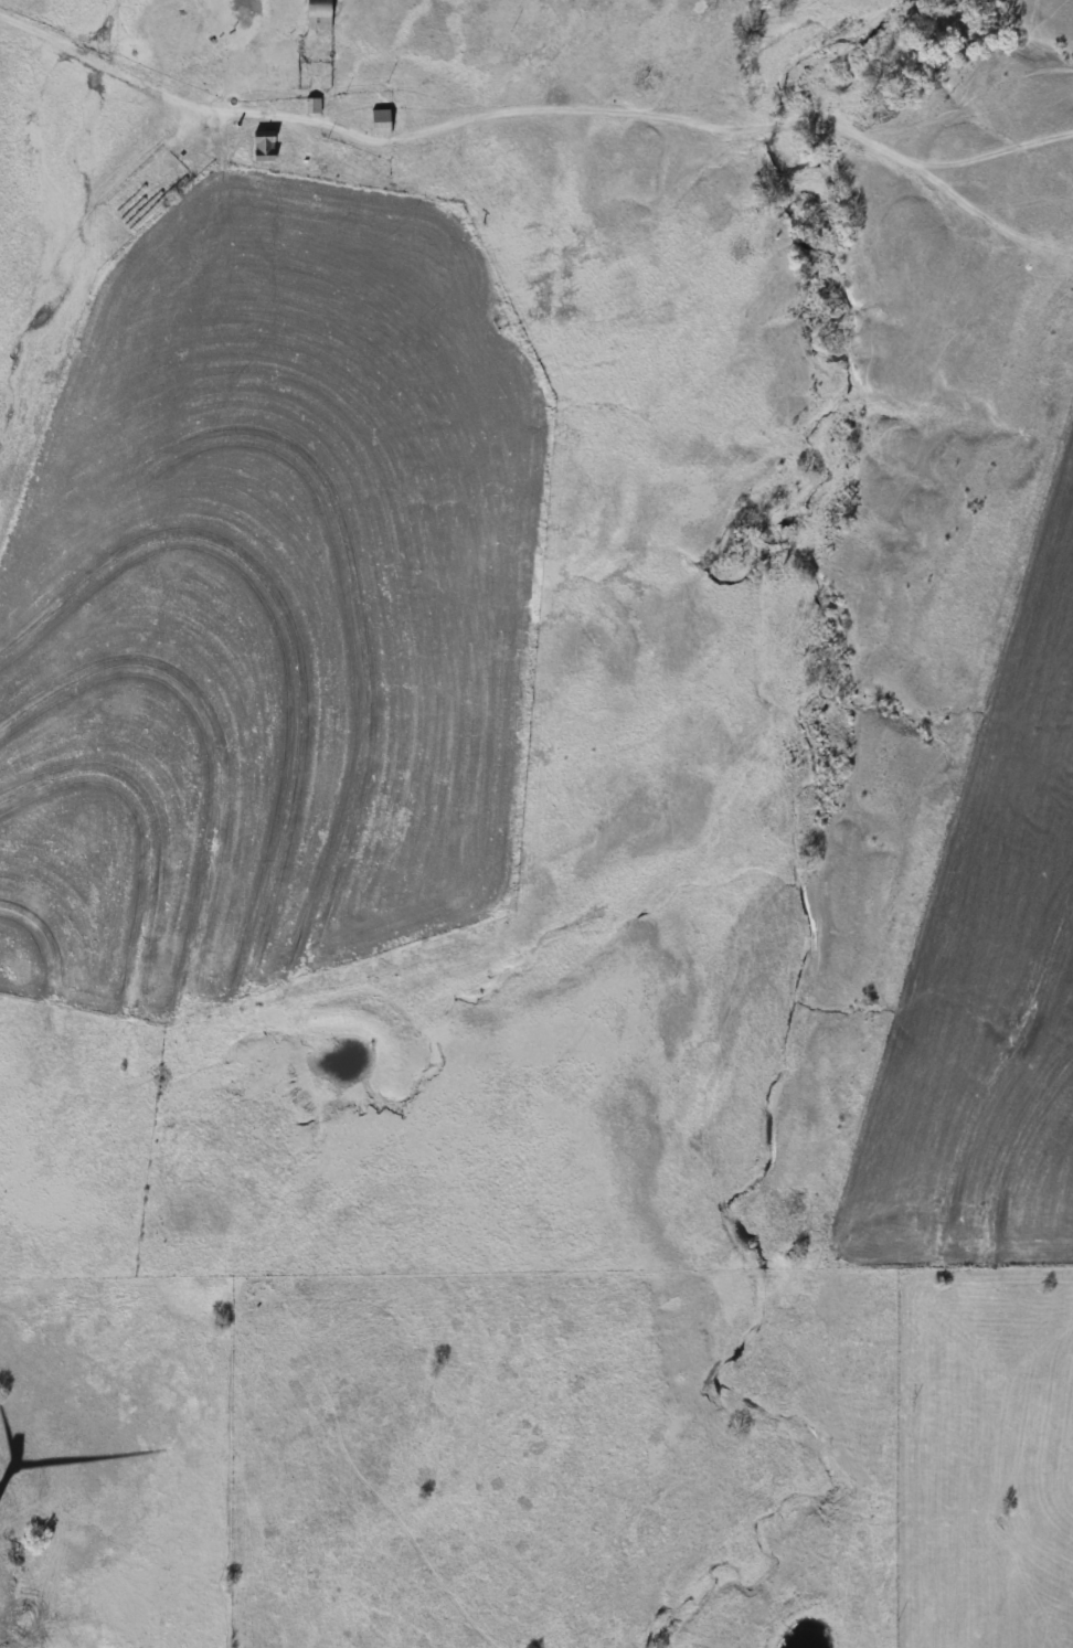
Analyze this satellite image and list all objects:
building: (317, 14)
road: (520, 110)
building: (379, 123)
building: (262, 146)

